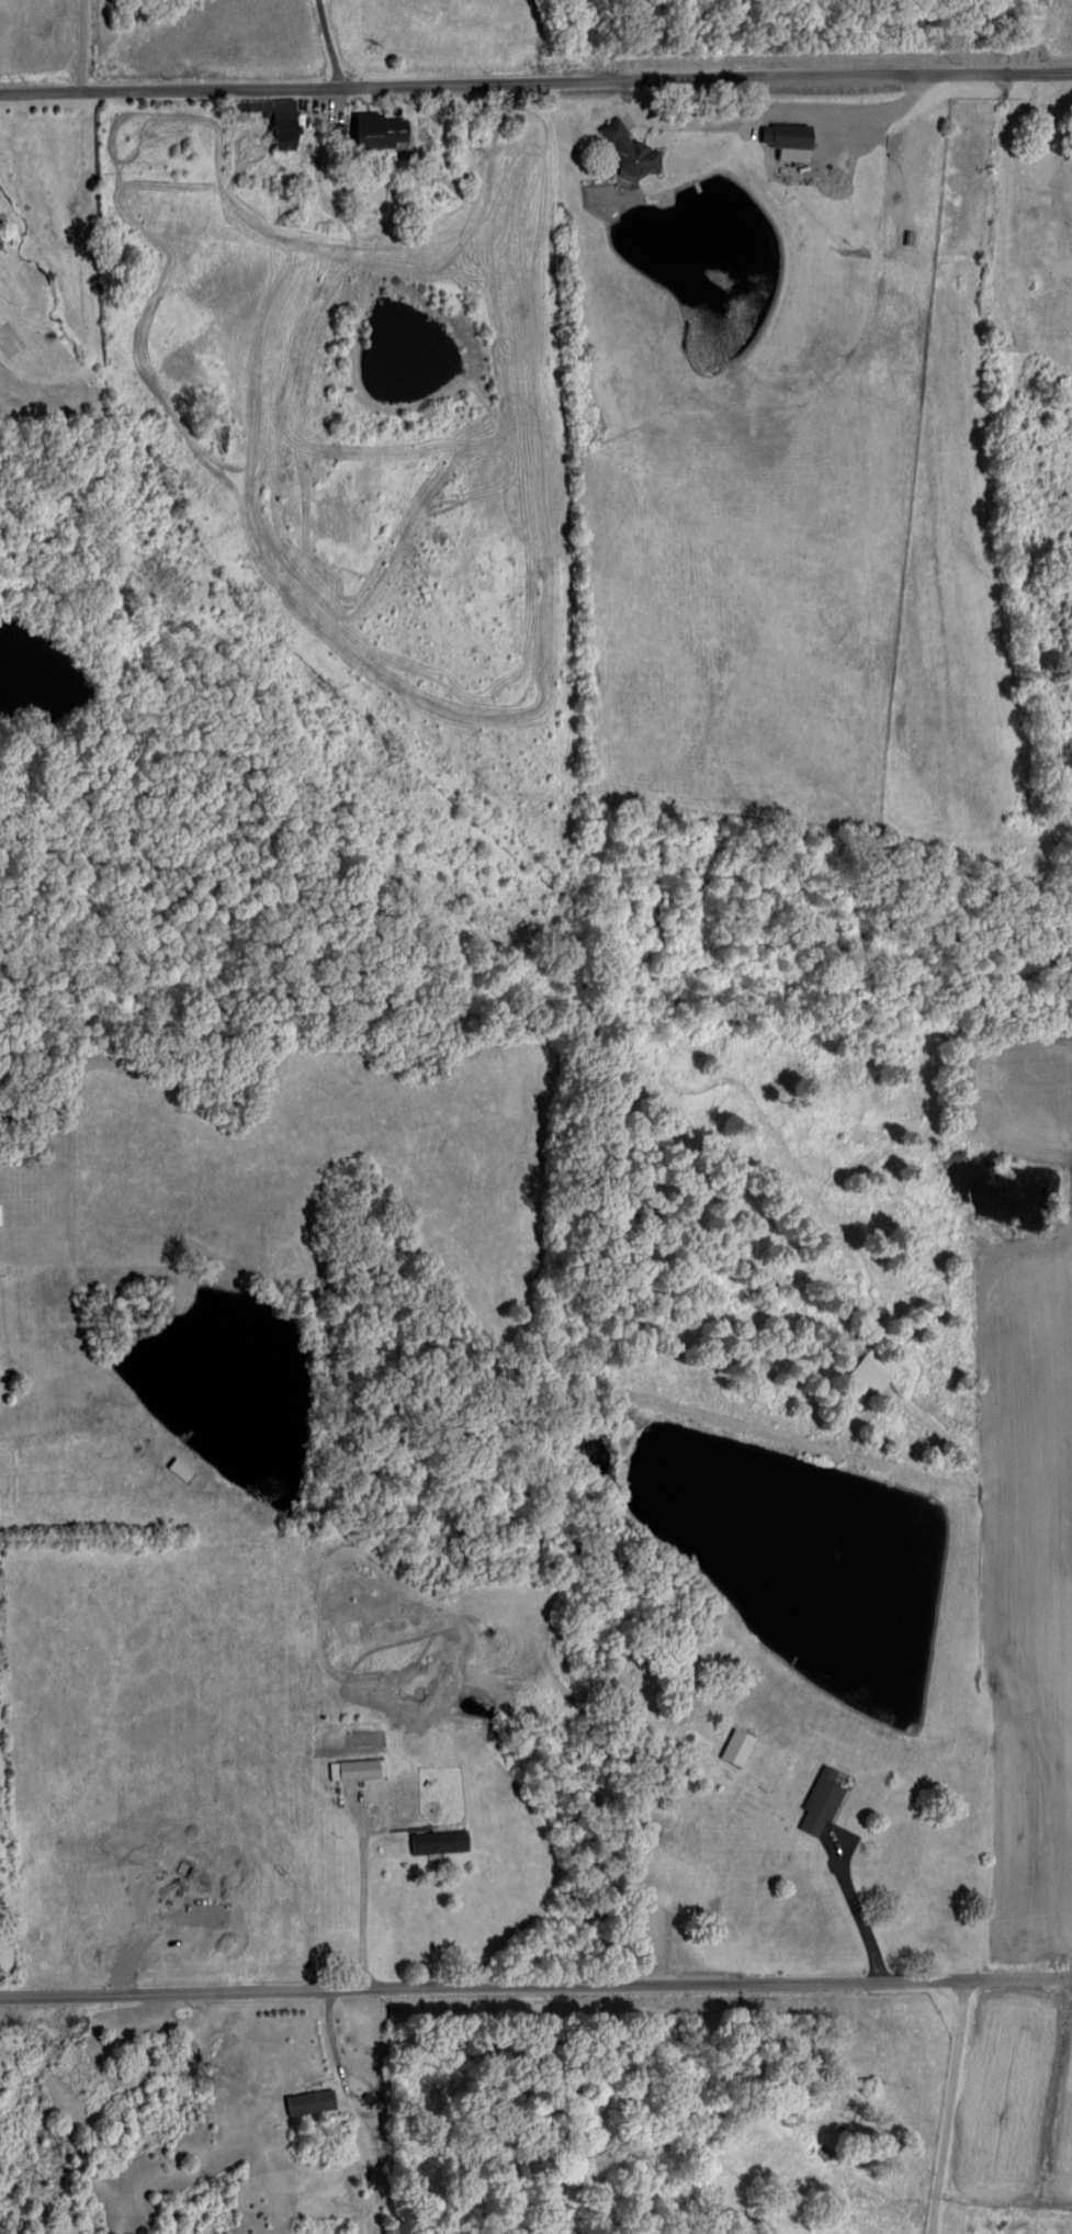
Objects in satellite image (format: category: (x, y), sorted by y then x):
road: (324, 44)
road: (75, 46)
road: (535, 87)
building: (270, 120)
building: (376, 132)
building: (336, 134)
building: (785, 141)
building: (624, 148)
building: (870, 1372)
building: (178, 1470)
building: (735, 1748)
building: (359, 1770)
building: (819, 1803)
building: (437, 1842)
road: (359, 1906)
road: (535, 1992)
road: (331, 2058)
building: (308, 2102)
road: (945, 2108)

